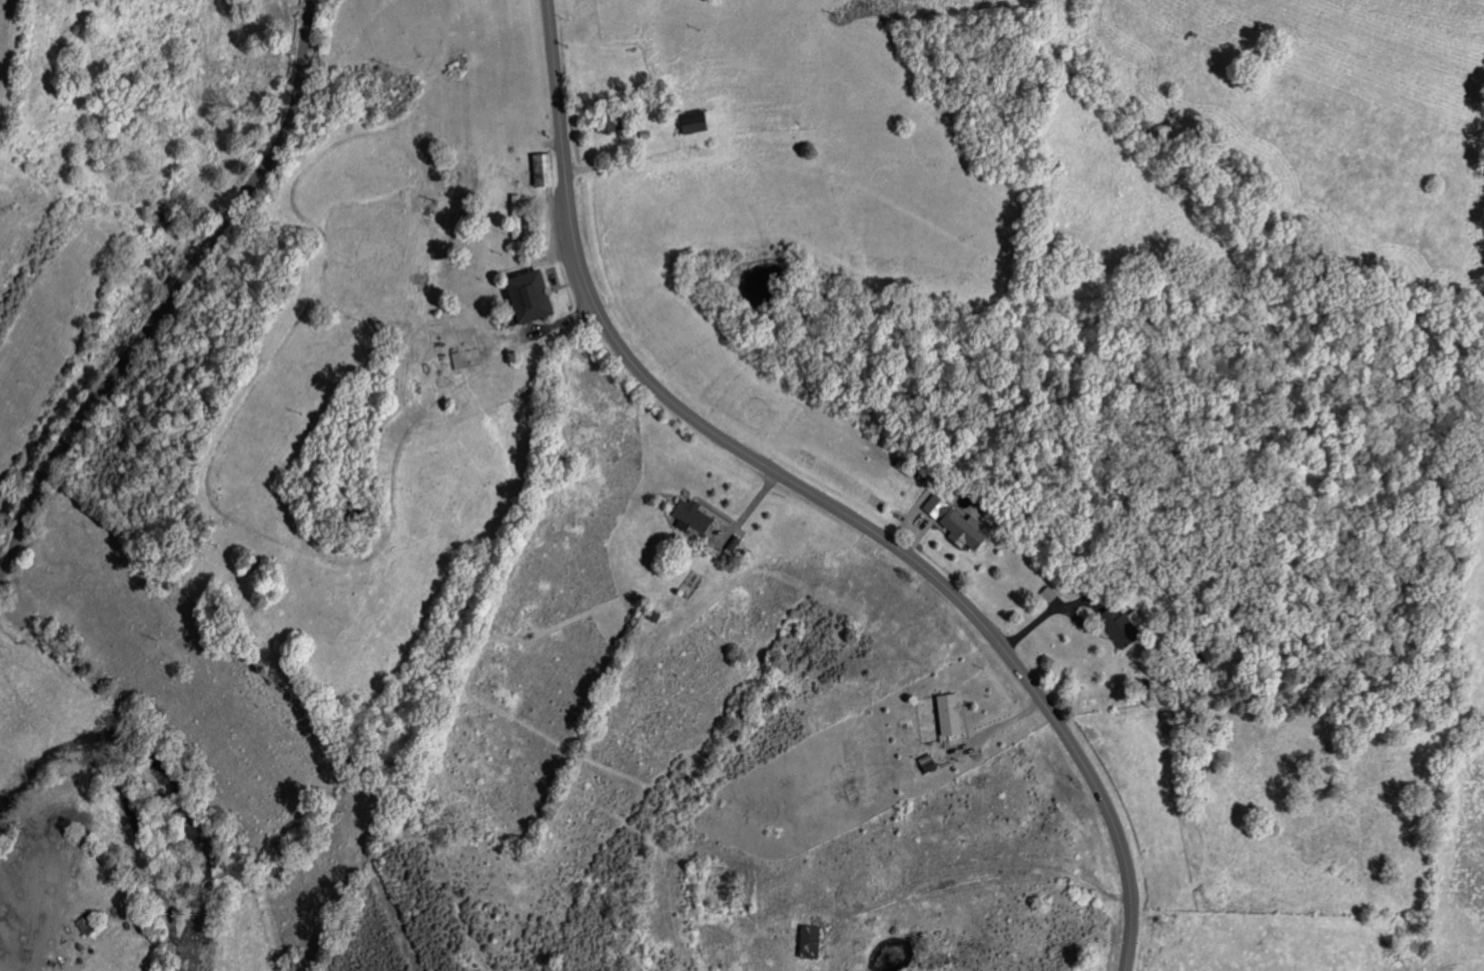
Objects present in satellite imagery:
building: (689, 122)
building: (546, 170)
building: (521, 205)
road: (172, 292)
building: (537, 296)
road: (812, 495)
building: (688, 516)
building: (955, 525)
building: (1045, 594)
building: (1114, 631)
building: (944, 714)

